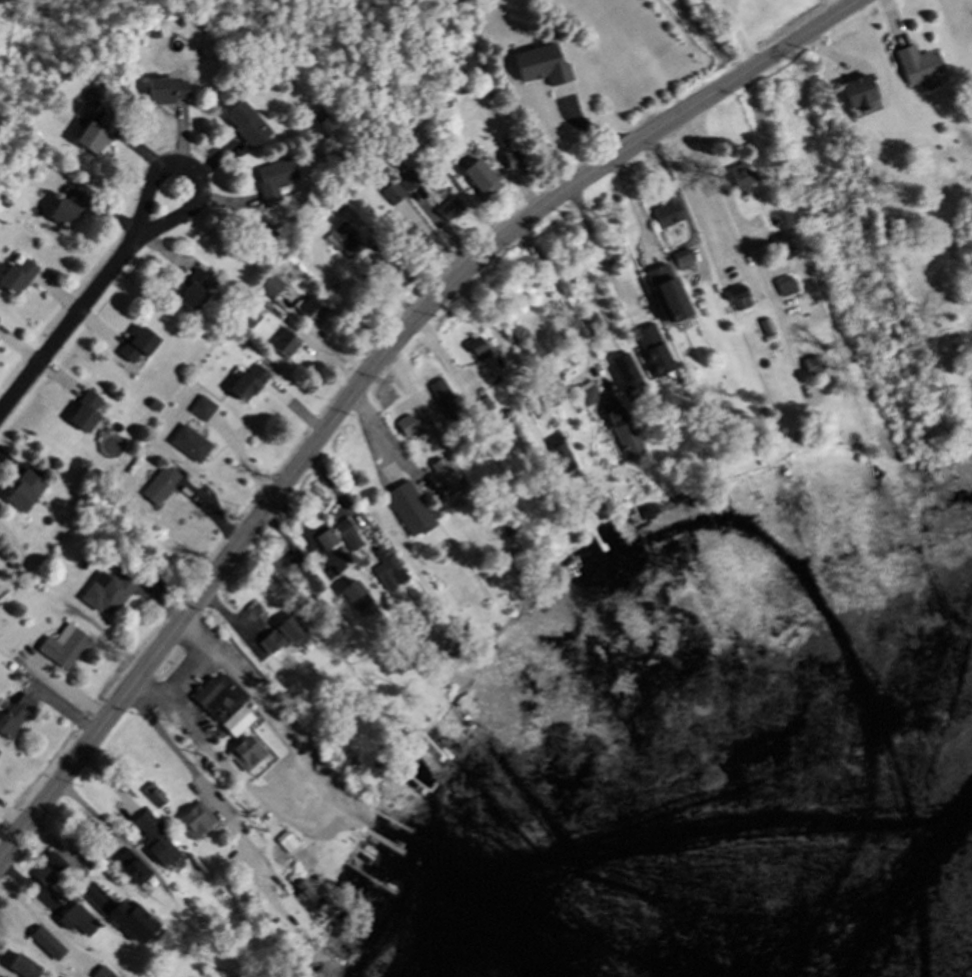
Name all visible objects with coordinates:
road: (841, 8)
road: (737, 37)
building: (921, 69)
building: (547, 71)
building: (170, 92)
building: (863, 95)
building: (248, 127)
building: (98, 134)
building: (517, 161)
building: (744, 178)
building: (276, 181)
building: (484, 181)
building: (410, 182)
building: (393, 196)
road: (715, 199)
road: (636, 211)
building: (66, 215)
road: (734, 215)
building: (668, 216)
building: (409, 236)
building: (341, 239)
road: (597, 252)
building: (686, 264)
building: (18, 278)
building: (273, 288)
building: (787, 288)
building: (197, 294)
road: (559, 295)
building: (670, 296)
building: (740, 300)
road: (91, 306)
building: (314, 313)
road: (495, 323)
building: (140, 347)
building: (286, 347)
building: (660, 362)
building: (814, 369)
road: (377, 370)
building: (627, 376)
building: (249, 386)
building: (446, 403)
building: (87, 414)
building: (408, 428)
building: (628, 438)
building: (192, 446)
building: (162, 487)
building: (26, 494)
building: (411, 512)
building: (110, 595)
building: (358, 599)
building: (282, 639)
building: (65, 650)
road: (187, 674)
building: (17, 717)
building: (238, 724)
building: (0, 755)
road: (180, 756)
building: (248, 756)
building: (197, 822)
building: (165, 852)
building: (135, 867)
building: (307, 894)
building: (126, 917)
building: (76, 920)
building: (48, 944)
building: (28, 968)
building: (103, 974)

